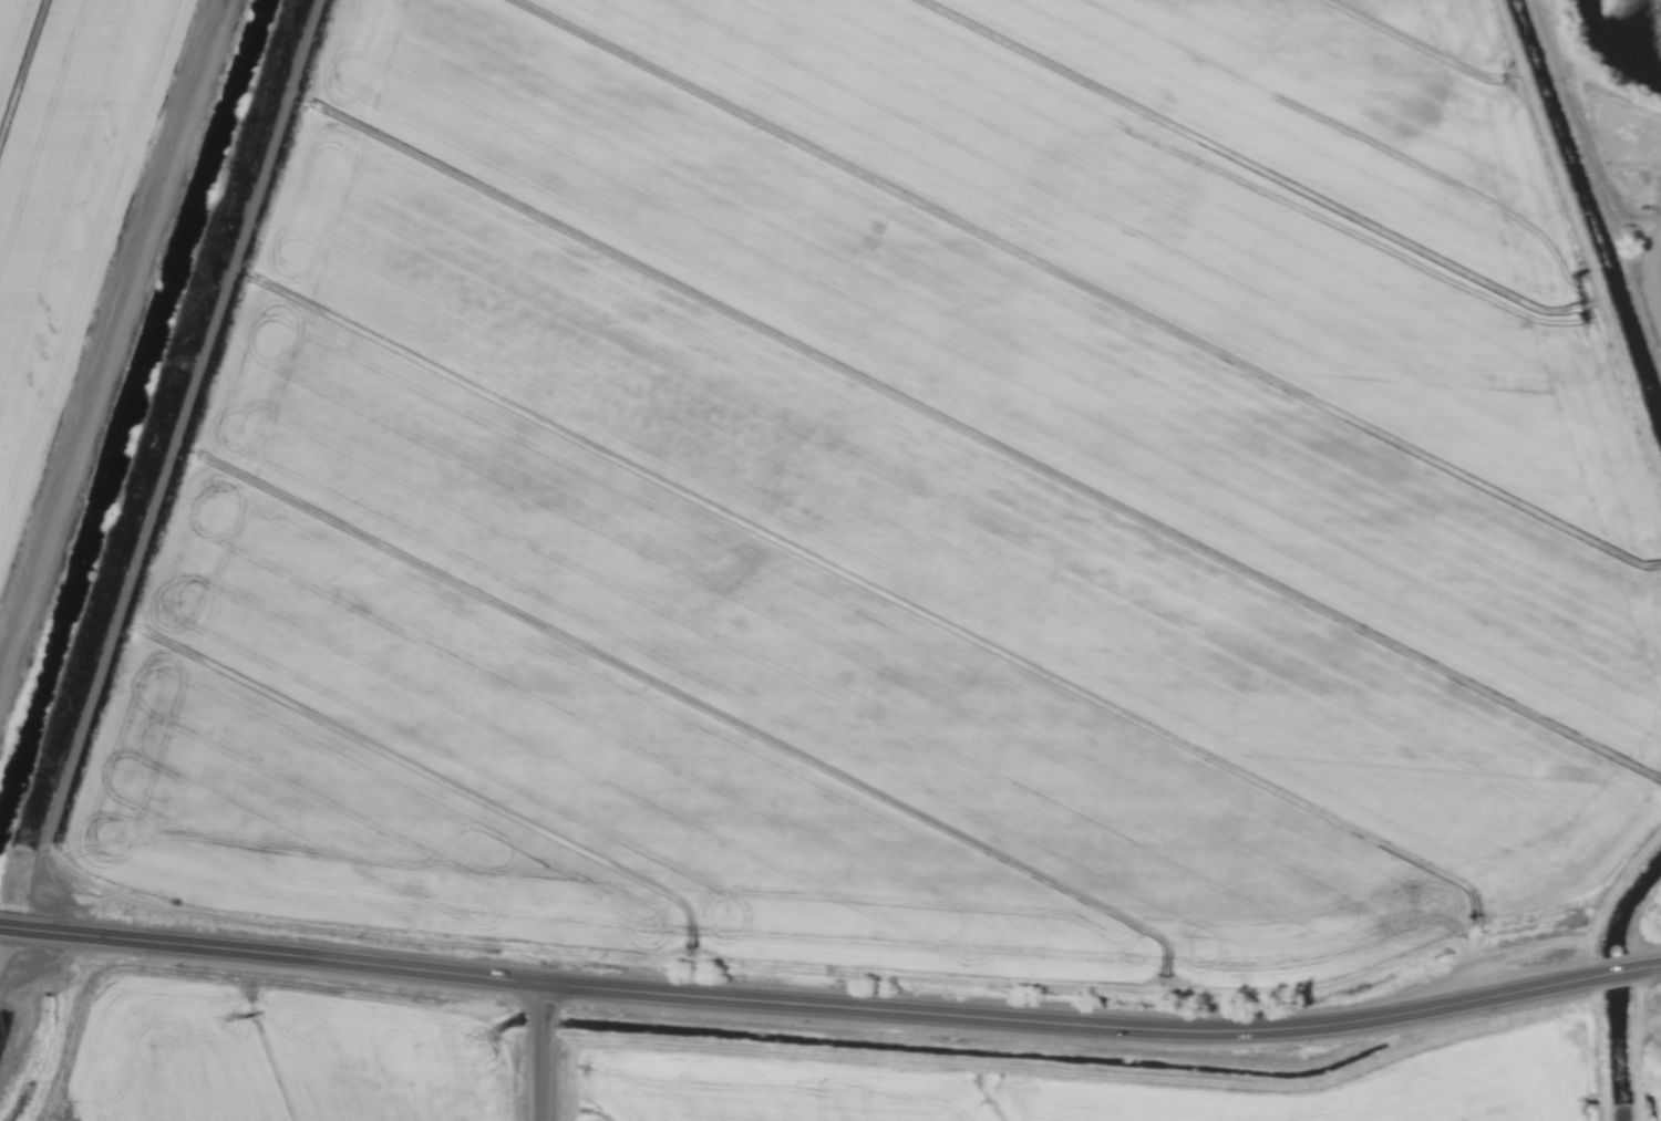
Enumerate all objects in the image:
road: (8, 928)
road: (839, 1009)
road: (1632, 1047)
road: (546, 1053)
crop: (1094, 1088)

